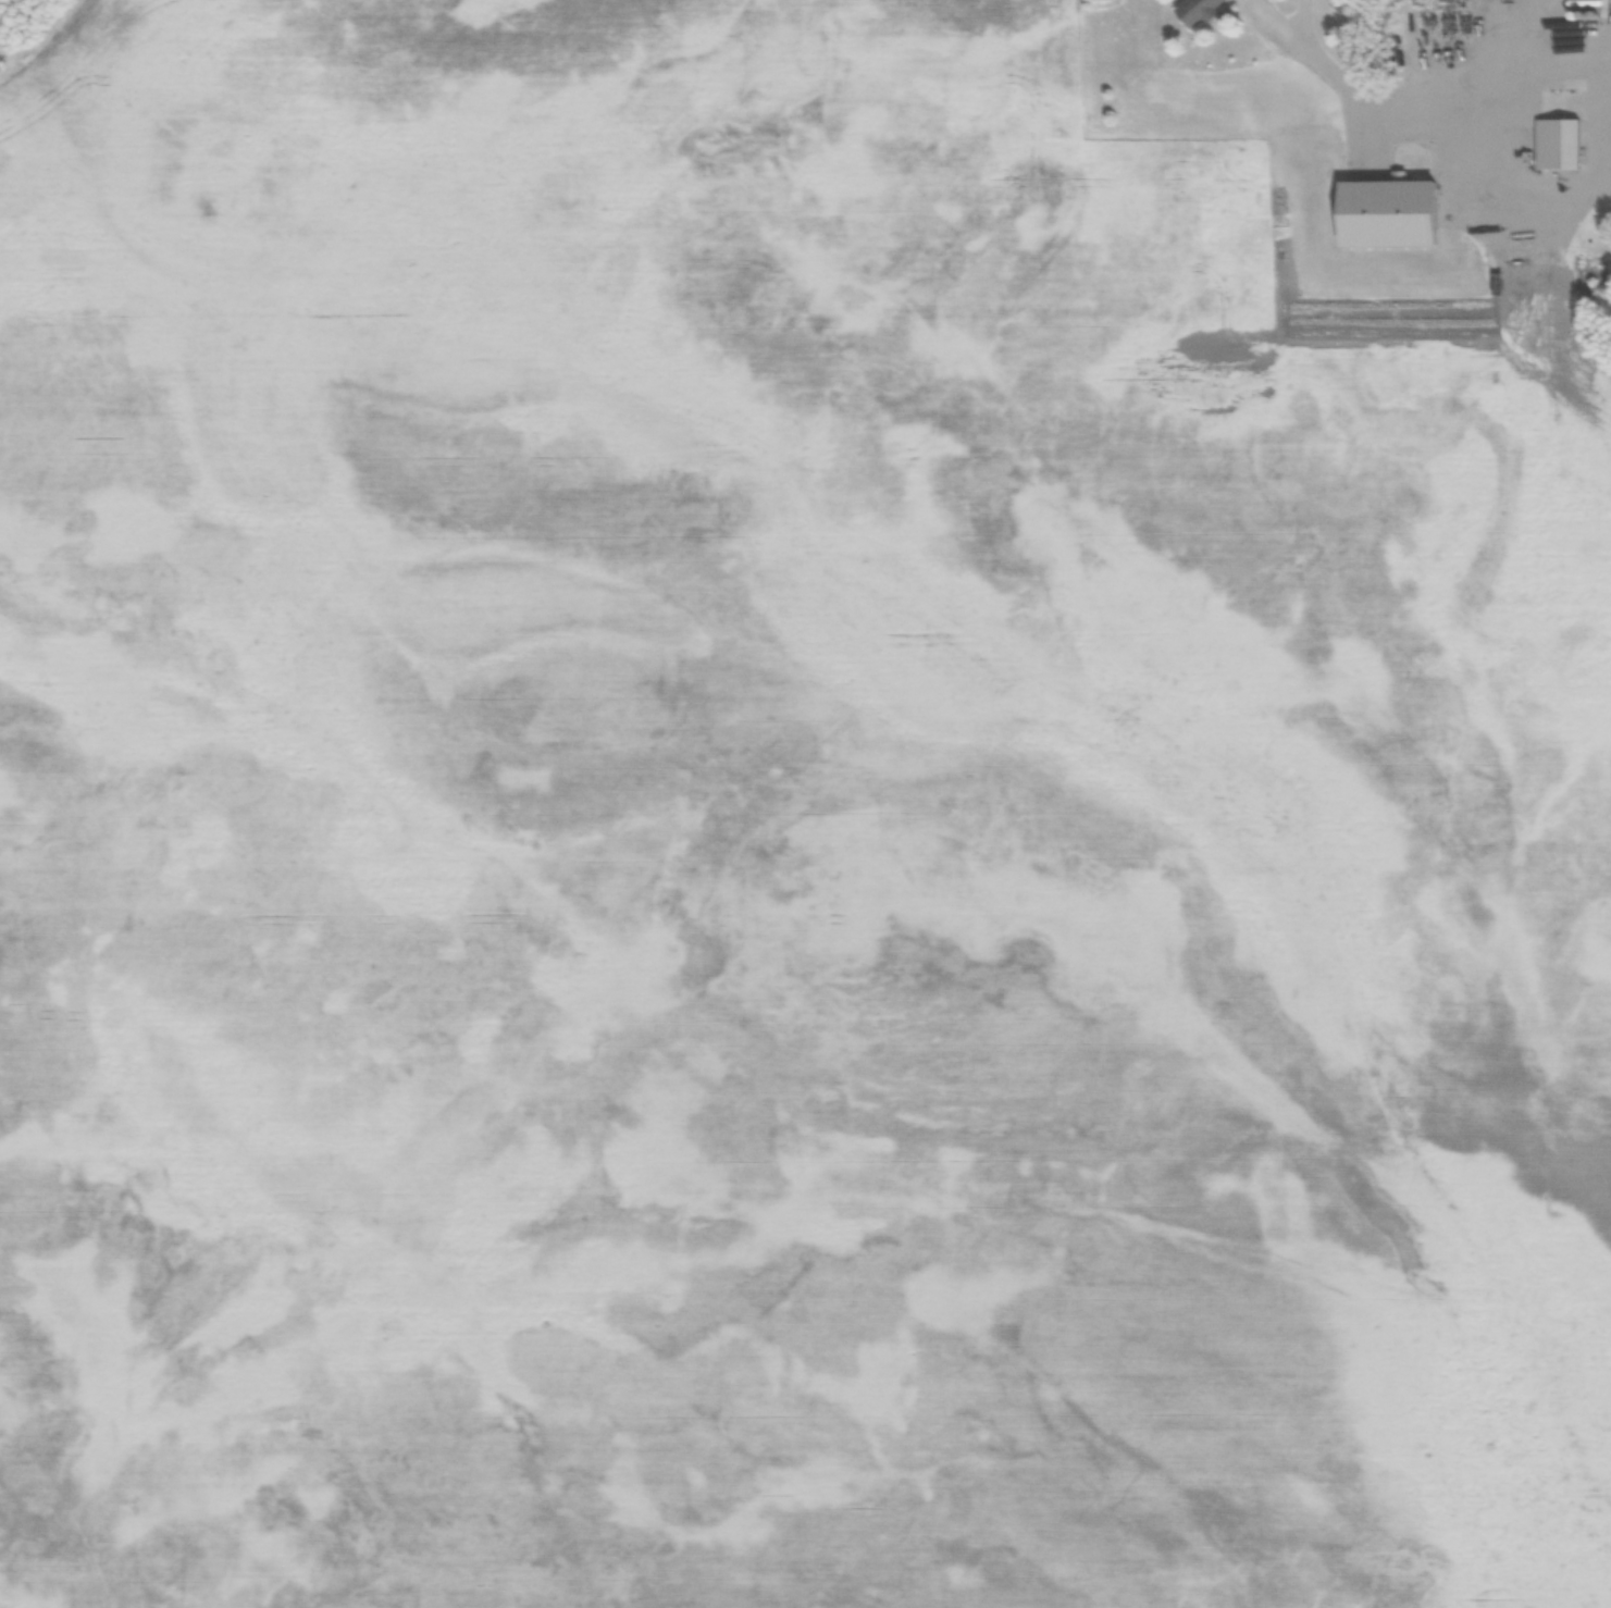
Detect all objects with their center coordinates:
building: (1198, 12)
building: (1603, 62)
road: (1430, 125)
building: (1563, 145)

